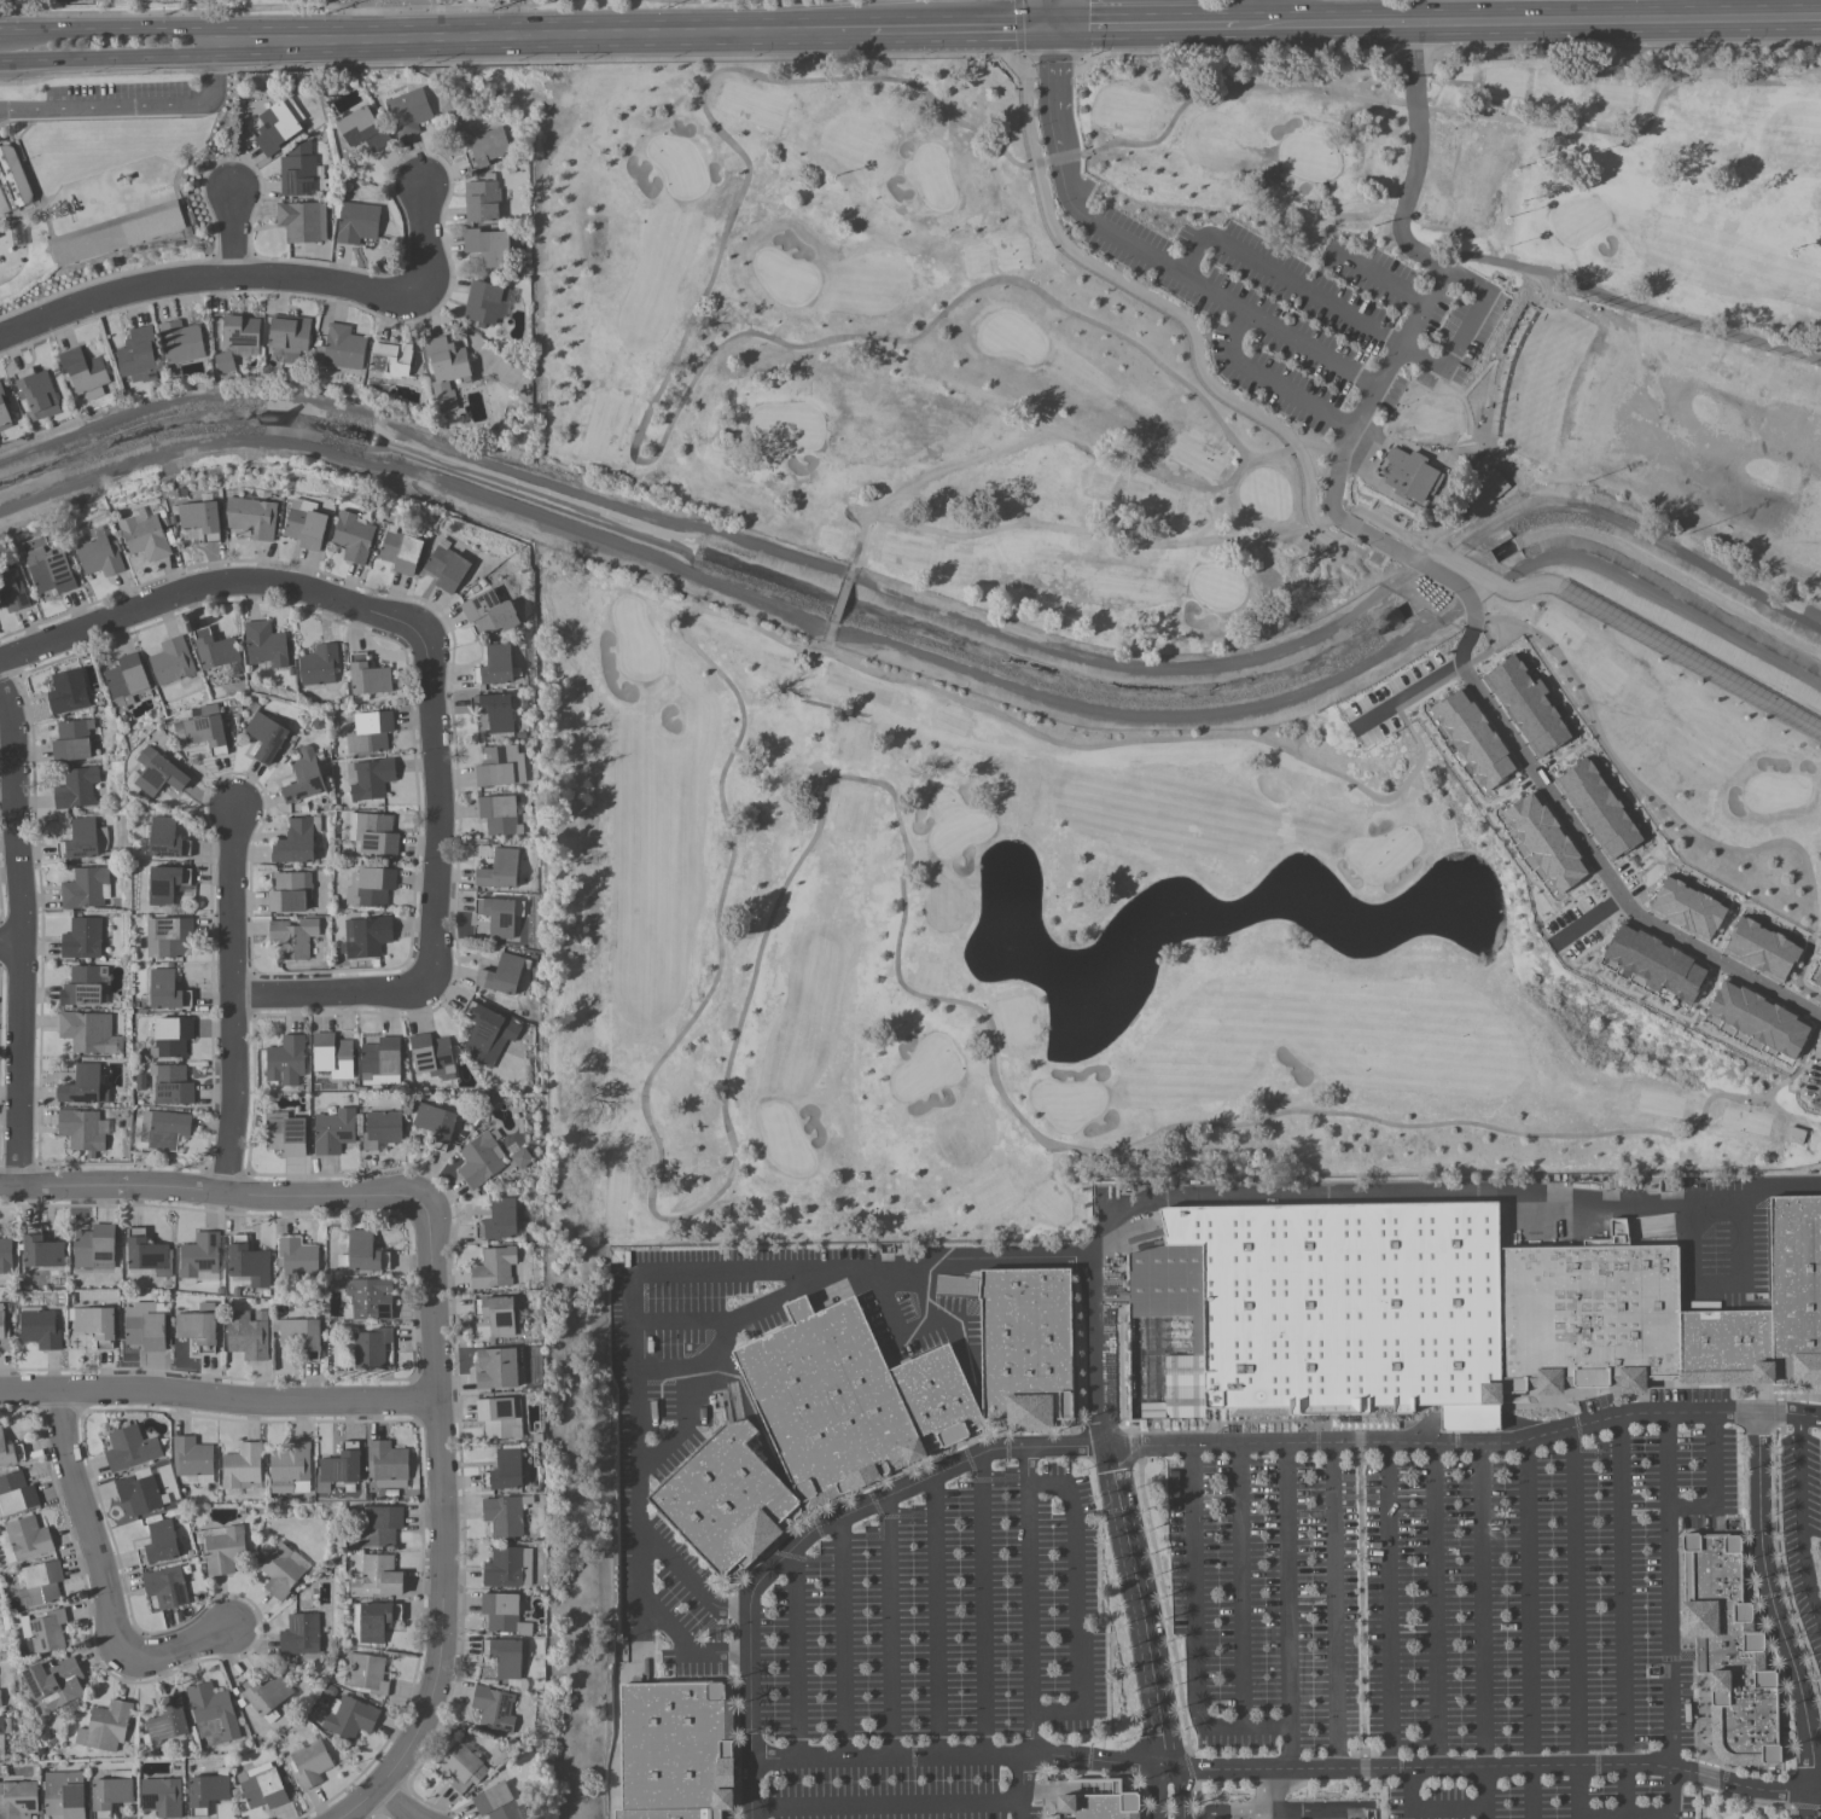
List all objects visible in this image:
building: (71, 0)
building: (85, 0)
park: (341, 1)
road: (366, 5)
road: (418, 5)
road: (454, 8)
road: (184, 12)
road: (1053, 13)
road: (516, 18)
road: (1679, 21)
road: (366, 24)
road: (1477, 24)
road: (1146, 25)
road: (1328, 25)
traffic signals: (1054, 27)
road: (118, 28)
road: (12, 30)
road: (1019, 30)
road: (633, 35)
road: (106, 57)
road: (134, 106)
building: (408, 112)
building: (278, 127)
building: (363, 130)
building: (487, 149)
road: (1416, 157)
building: (298, 173)
building: (13, 180)
road: (1063, 180)
building: (483, 201)
building: (303, 222)
building: (357, 223)
building: (118, 236)
road: (228, 238)
road: (424, 242)
building: (489, 248)
road: (1282, 278)
road: (1380, 279)
road: (206, 280)
building: (484, 304)
road: (1278, 330)
road: (1465, 330)
building: (243, 331)
building: (290, 335)
building: (182, 343)
road: (1398, 347)
building: (344, 348)
building: (139, 356)
building: (226, 362)
building: (390, 362)
building: (447, 371)
building: (86, 373)
road: (1270, 379)
building: (39, 394)
building: (5, 412)
building: (1409, 473)
building: (1483, 490)
building: (251, 516)
building: (200, 517)
building: (304, 523)
road: (1309, 524)
road: (1319, 524)
building: (145, 536)
building: (353, 536)
road: (1392, 548)
building: (400, 550)
building: (99, 556)
building: (448, 563)
building: (48, 565)
road: (206, 588)
building: (12, 589)
building: (489, 611)
park: (1125, 622)
building: (264, 644)
building: (214, 647)
building: (170, 661)
building: (318, 664)
building: (495, 666)
building: (367, 675)
building: (126, 680)
building: (66, 691)
road: (1413, 692)
building: (1526, 707)
building: (498, 711)
building: (203, 730)
building: (370, 732)
building: (266, 736)
building: (1472, 738)
building: (71, 739)
building: (500, 766)
building: (157, 772)
building: (304, 777)
building: (371, 779)
building: (76, 788)
building: (1596, 809)
road: (431, 810)
building: (499, 814)
building: (372, 833)
building: (165, 838)
building: (82, 839)
building: (296, 841)
building: (1541, 842)
building: (499, 868)
road: (1605, 878)
building: (165, 883)
building: (370, 887)
building: (86, 888)
building: (289, 891)
building: (1686, 908)
building: (499, 914)
road: (1584, 918)
building: (168, 936)
building: (292, 936)
building: (365, 936)
building: (82, 937)
road: (22, 940)
building: (1761, 949)
road: (11, 952)
building: (1654, 963)
building: (502, 974)
building: (1816, 976)
building: (82, 986)
building: (167, 990)
road: (330, 994)
road: (232, 1001)
building: (1757, 1018)
building: (88, 1033)
building: (487, 1034)
building: (171, 1036)
building: (332, 1056)
building: (431, 1057)
building: (285, 1060)
building: (380, 1060)
building: (171, 1083)
building: (83, 1085)
building: (434, 1123)
building: (80, 1128)
building: (163, 1129)
building: (380, 1129)
building: (333, 1132)
building: (284, 1134)
building: (519, 1158)
building: (479, 1160)
road: (214, 1190)
road: (1755, 1192)
road: (1296, 1195)
road: (1608, 1209)
road: (1551, 1219)
building: (498, 1220)
road: (1660, 1234)
road: (1128, 1244)
building: (94, 1248)
building: (40, 1249)
building: (361, 1251)
building: (147, 1253)
building: (5, 1256)
building: (296, 1256)
building: (198, 1259)
building: (246, 1262)
building: (493, 1268)
road: (883, 1275)
building: (952, 1284)
road: (1716, 1285)
road: (949, 1290)
building: (1797, 1294)
building: (368, 1300)
building: (495, 1314)
building: (1322, 1315)
building: (1592, 1319)
road: (949, 1321)
road: (679, 1323)
building: (94, 1324)
building: (145, 1325)
building: (198, 1326)
building: (39, 1327)
building: (4, 1331)
building: (248, 1335)
building: (302, 1336)
road: (908, 1338)
building: (371, 1347)
building: (1727, 1349)
building: (1029, 1350)
road: (1098, 1354)
building: (495, 1367)
road: (675, 1372)
road: (726, 1390)
building: (937, 1397)
road: (215, 1400)
building: (830, 1404)
road: (636, 1405)
building: (500, 1417)
road: (1476, 1422)
road: (1524, 1428)
road: (1423, 1429)
road: (682, 1431)
road: (1153, 1446)
building: (129, 1448)
building: (10, 1452)
building: (192, 1459)
building: (386, 1464)
building: (339, 1466)
building: (242, 1468)
building: (290, 1469)
building: (504, 1470)
road: (1712, 1484)
building: (16, 1493)
building: (139, 1493)
building: (728, 1501)
road: (1643, 1512)
building: (505, 1515)
road: (1797, 1516)
building: (380, 1525)
road: (437, 1527)
building: (25, 1539)
building: (158, 1542)
building: (221, 1548)
road: (1154, 1563)
building: (507, 1567)
building: (280, 1571)
building: (377, 1577)
road: (97, 1582)
building: (40, 1583)
road: (687, 1583)
building: (165, 1586)
road: (1238, 1587)
road: (1028, 1603)
road: (1436, 1605)
road: (979, 1606)
road: (1333, 1606)
road: (1387, 1606)
road: (1075, 1608)
road: (1286, 1608)
building: (502, 1614)
road: (936, 1616)
road: (1621, 1617)
road: (1774, 1618)
building: (374, 1622)
road: (886, 1628)
road: (1528, 1629)
building: (45, 1631)
road: (1193, 1631)
road: (1361, 1631)
road: (1482, 1632)
road: (1144, 1633)
building: (299, 1634)
road: (842, 1639)
road: (638, 1645)
parking lot: (1579, 1647)
building: (1732, 1652)
road: (793, 1654)
building: (504, 1658)
building: (365, 1674)
building: (54, 1685)
building: (264, 1695)
building: (0, 1705)
building: (493, 1708)
building: (211, 1713)
building: (349, 1718)
building: (165, 1722)
building: (1, 1726)
building: (105, 1727)
building: (680, 1753)
building: (309, 1765)
building: (461, 1767)
road: (1286, 1771)
building: (262, 1786)
road: (1019, 1788)
building: (206, 1791)
building: (110, 1792)
road: (1270, 1792)
building: (64, 1795)
building: (161, 1797)
building: (17, 1800)
building: (498, 1803)
road: (884, 1805)
road: (389, 1806)
building: (1096, 1807)
road: (1425, 1812)
road: (1288, 1814)
road: (1284, 1817)
road: (1579, 1817)
road: (1631, 1817)
road: (1217, 1818)
road: (1221, 1818)

